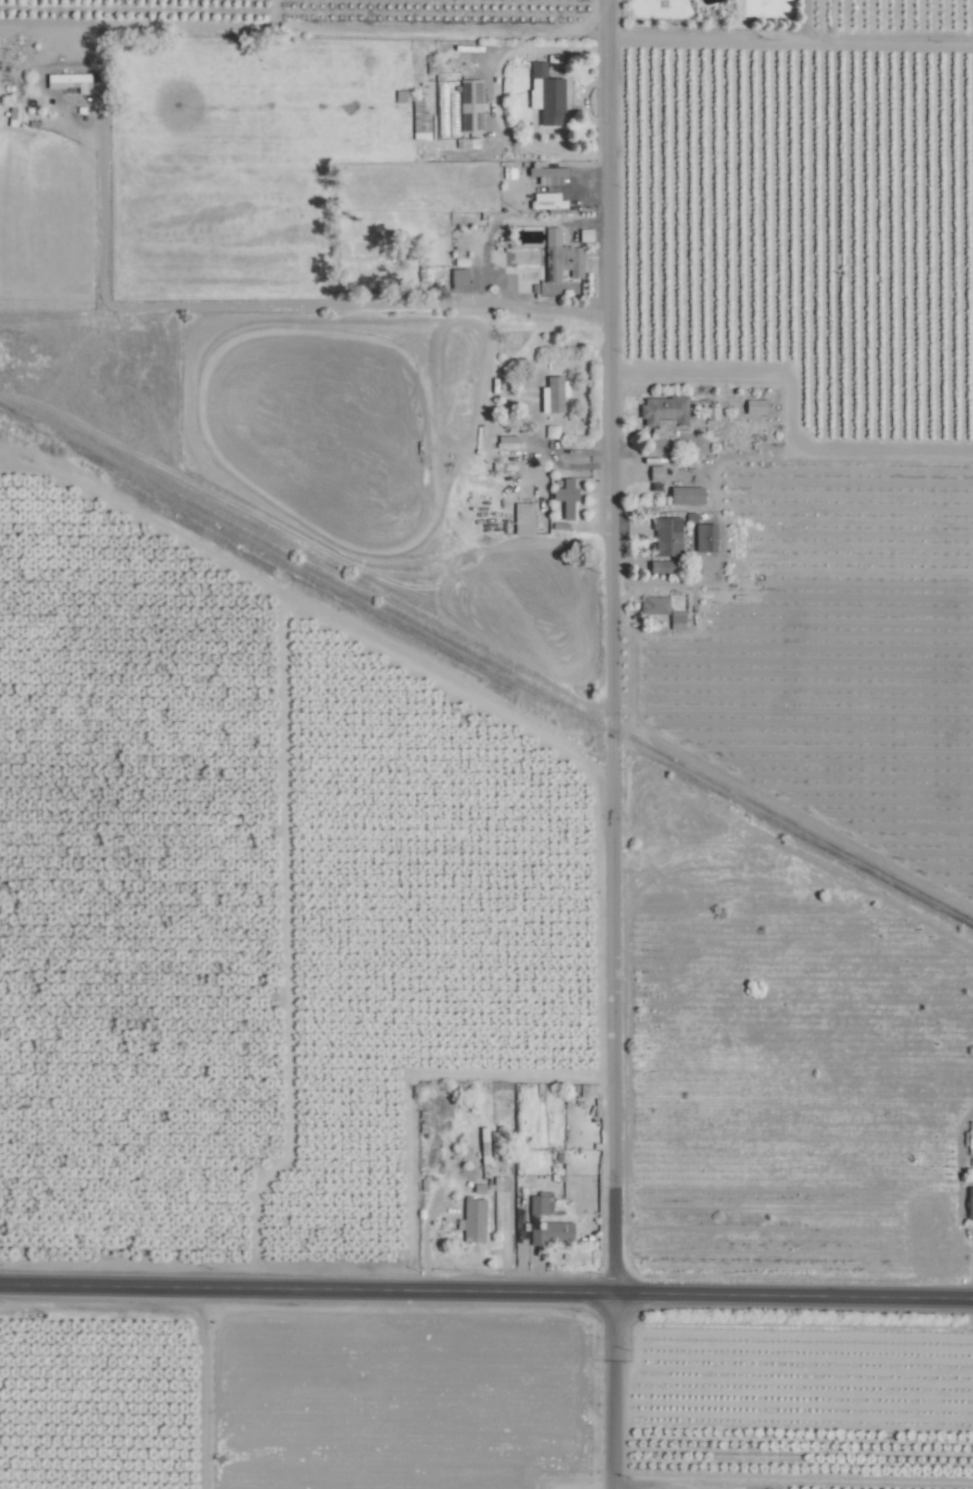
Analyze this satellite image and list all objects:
road: (792, 37)
building: (553, 62)
building: (69, 82)
building: (545, 95)
road: (496, 98)
building: (470, 105)
building: (547, 172)
building: (547, 201)
building: (586, 234)
building: (562, 266)
building: (458, 281)
road: (258, 302)
building: (554, 395)
building: (755, 407)
building: (663, 410)
building: (712, 413)
building: (508, 441)
building: (656, 473)
building: (686, 495)
building: (565, 496)
building: (523, 518)
building: (667, 535)
building: (705, 537)
building: (663, 566)
building: (654, 605)
building: (677, 620)
road: (612, 645)
crop: (486, 744)
road: (410, 1081)
building: (969, 1134)
building: (484, 1145)
building: (501, 1184)
building: (970, 1202)
building: (544, 1204)
building: (473, 1220)
building: (552, 1233)
road: (486, 1290)
road: (614, 1390)

